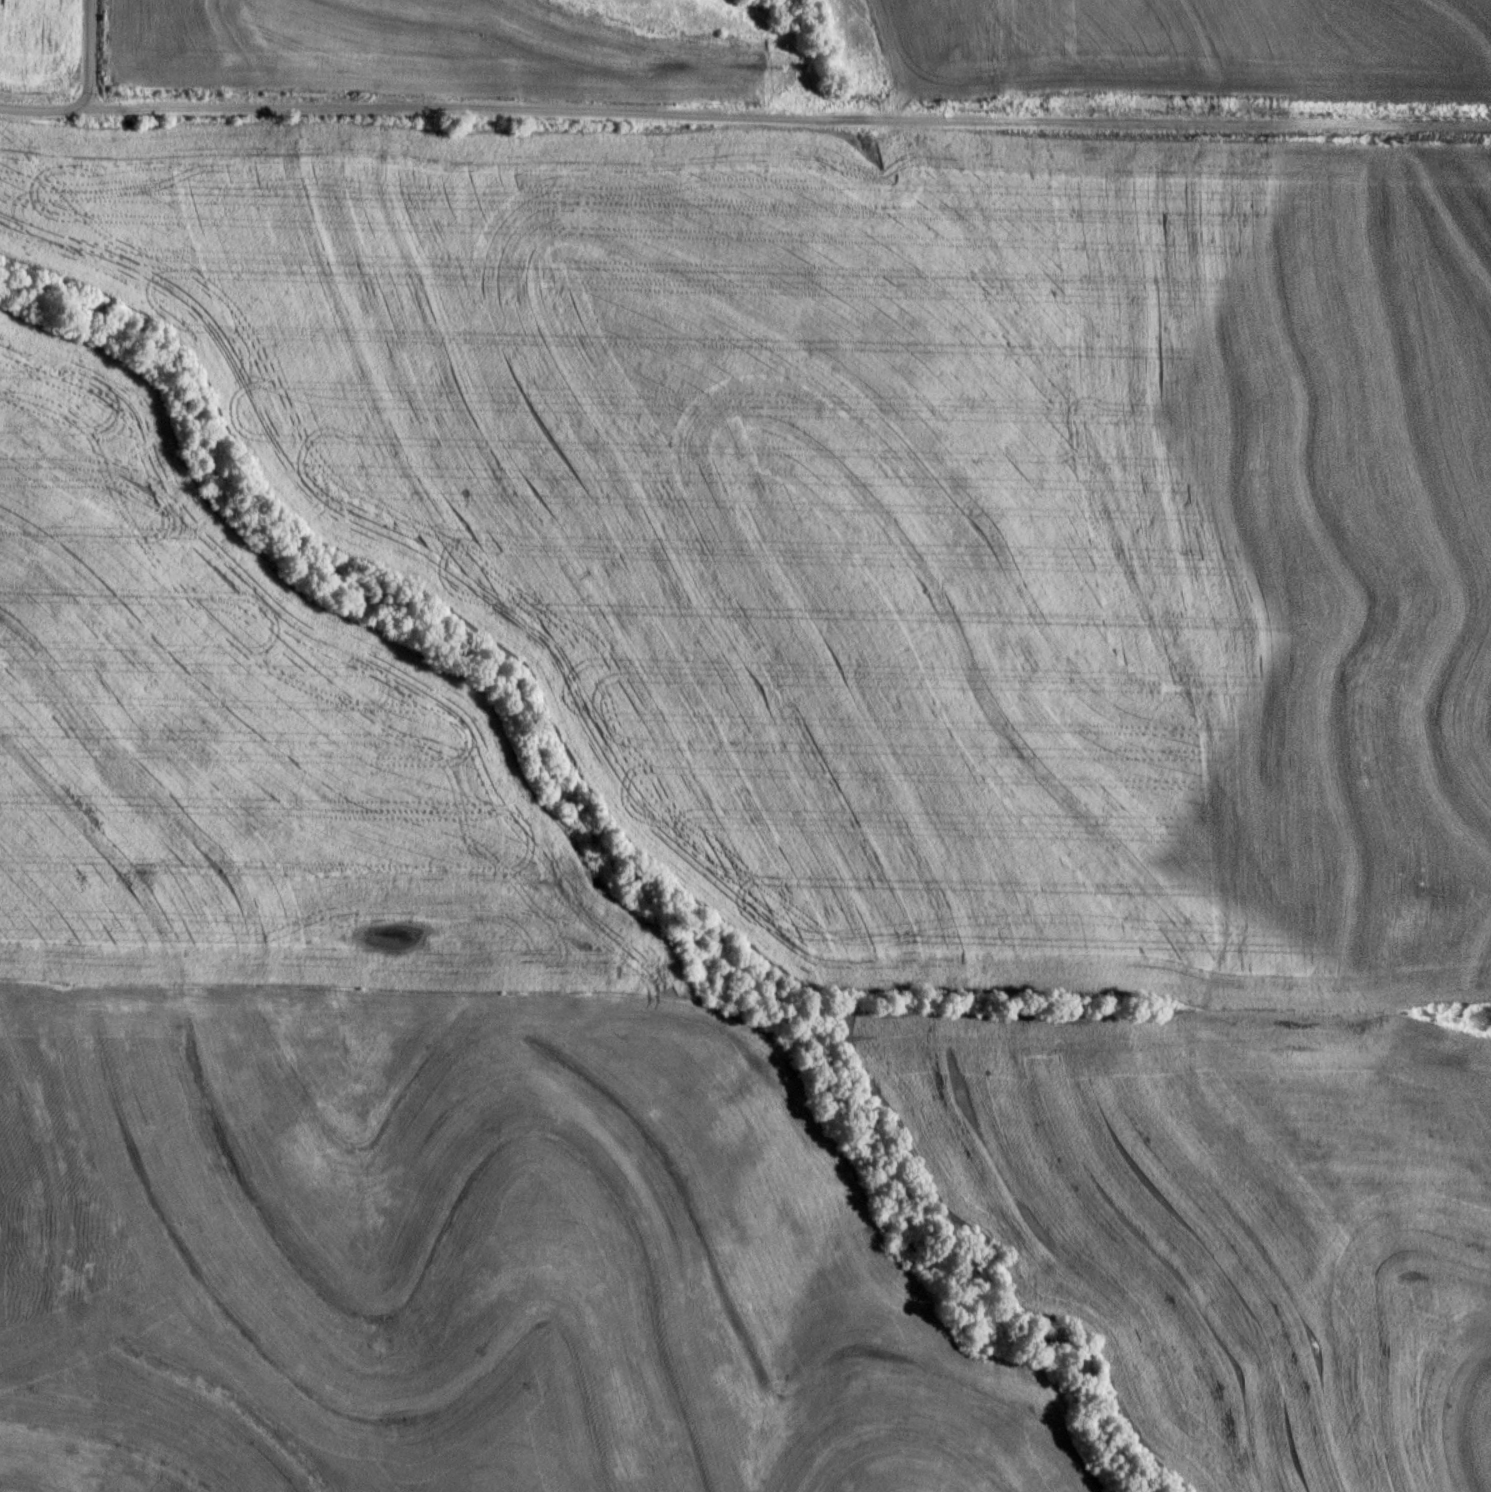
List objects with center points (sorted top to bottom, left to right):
road: (93, 52)
road: (745, 113)

